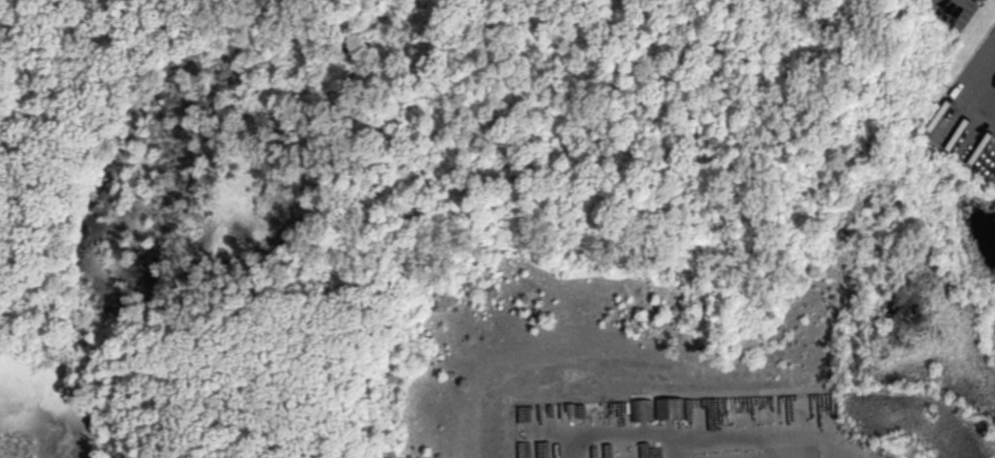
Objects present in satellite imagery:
road: (9, 29)
road: (966, 93)
park: (434, 212)

